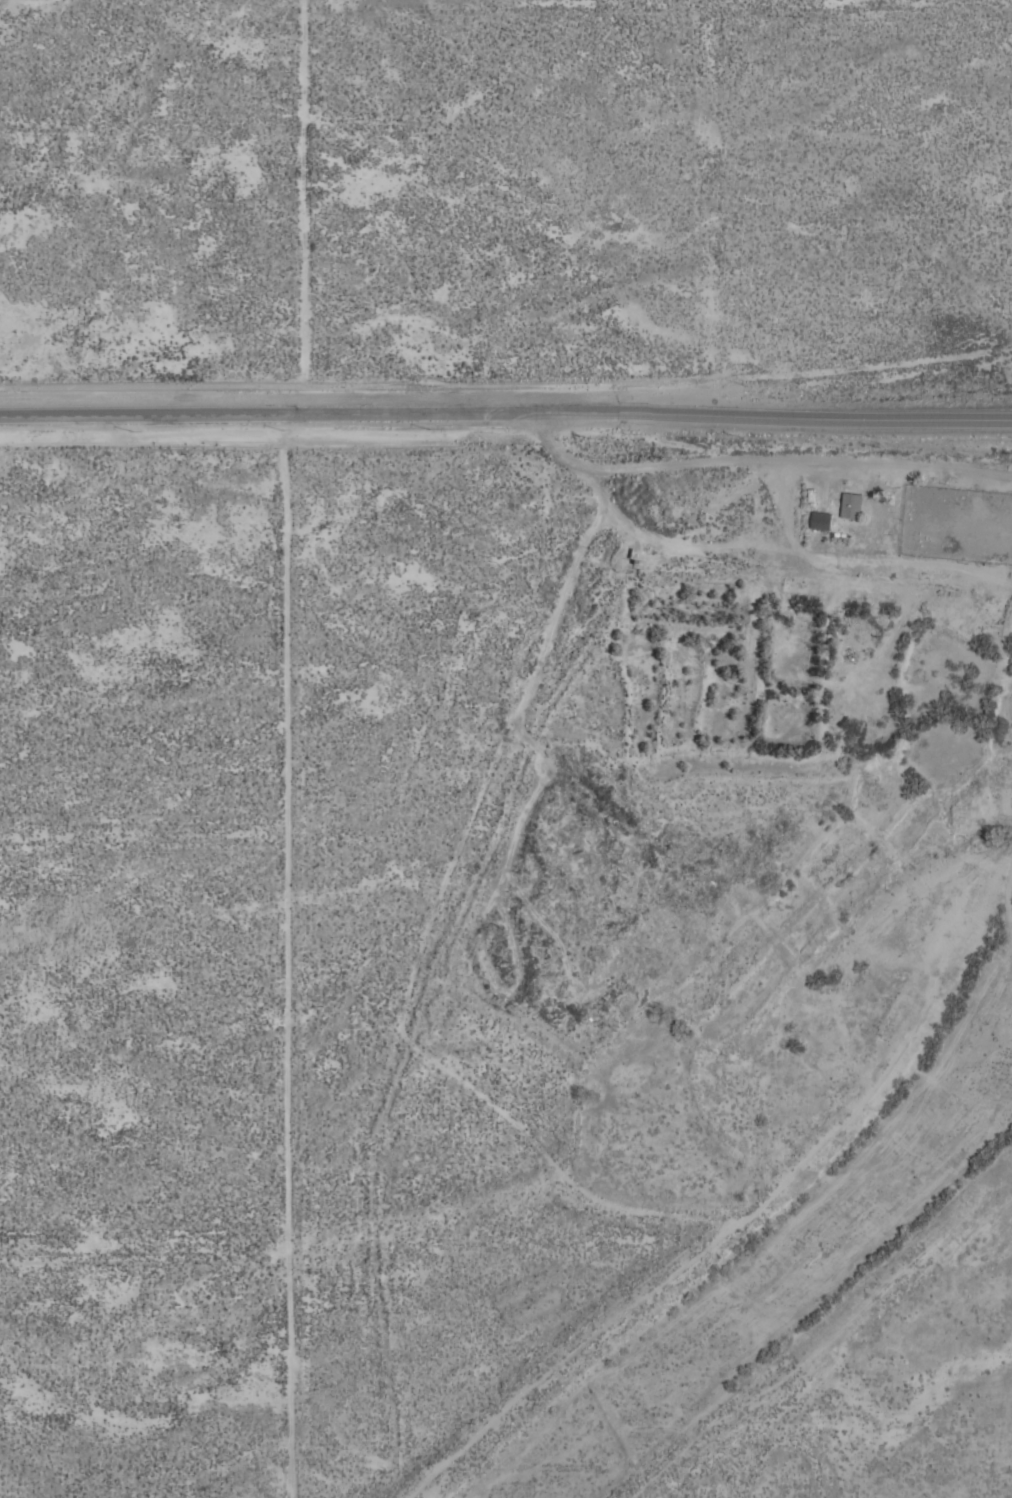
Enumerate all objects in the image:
road: (649, 413)
road: (143, 417)
road: (756, 458)
building: (851, 505)
building: (822, 520)
road: (287, 956)

